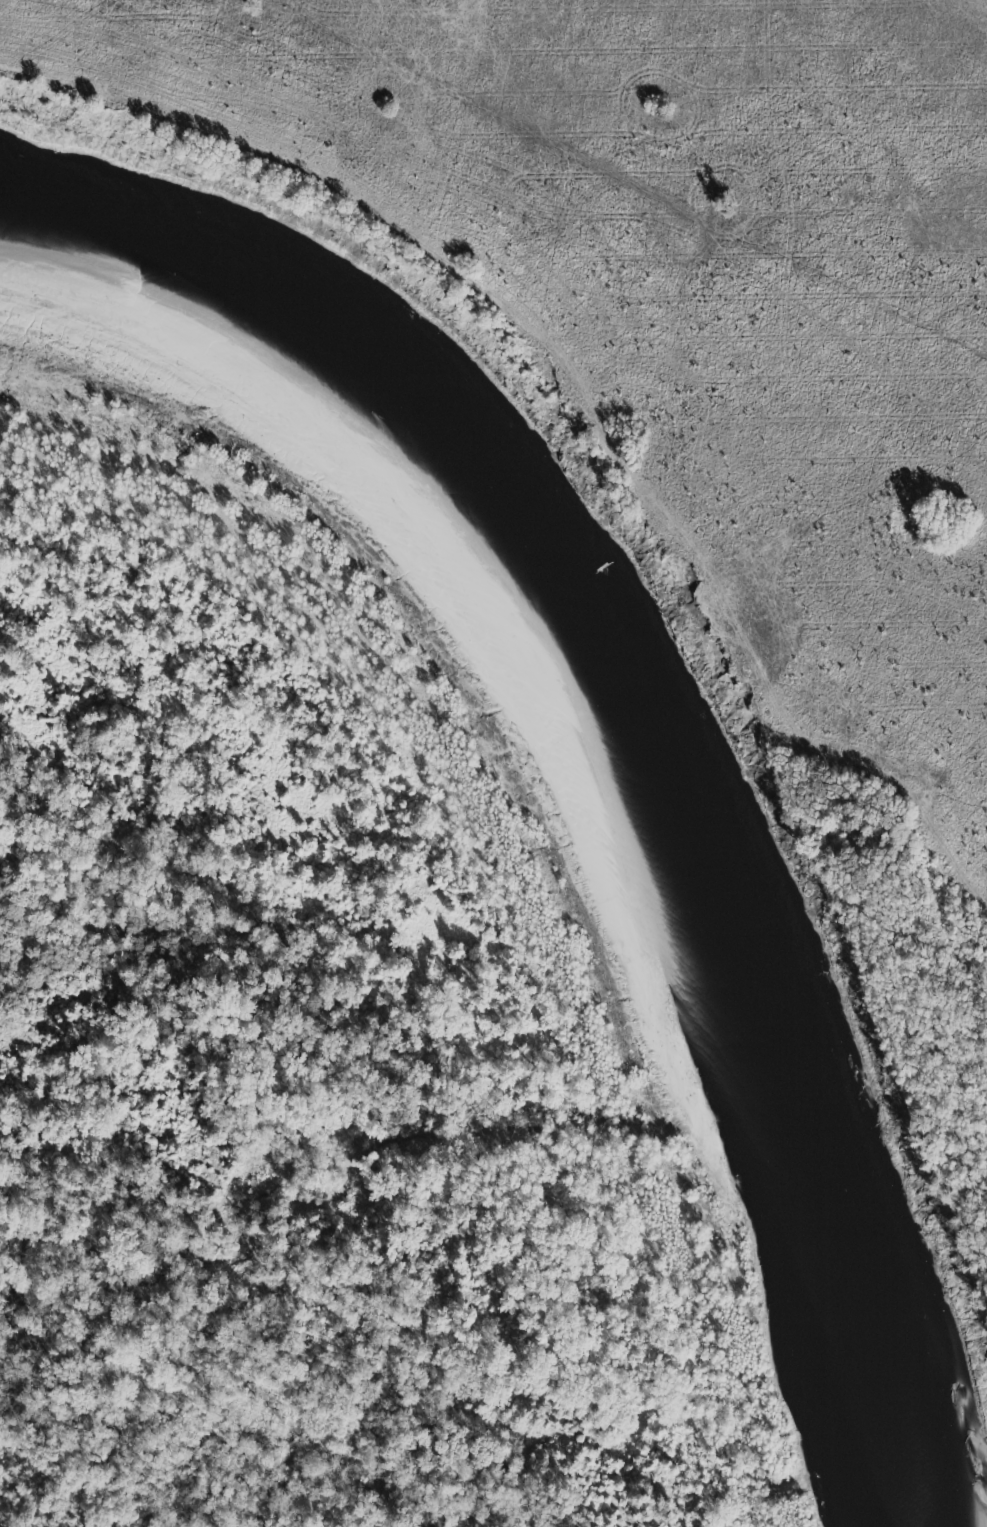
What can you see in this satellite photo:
road: (575, 443)
river: (611, 745)

